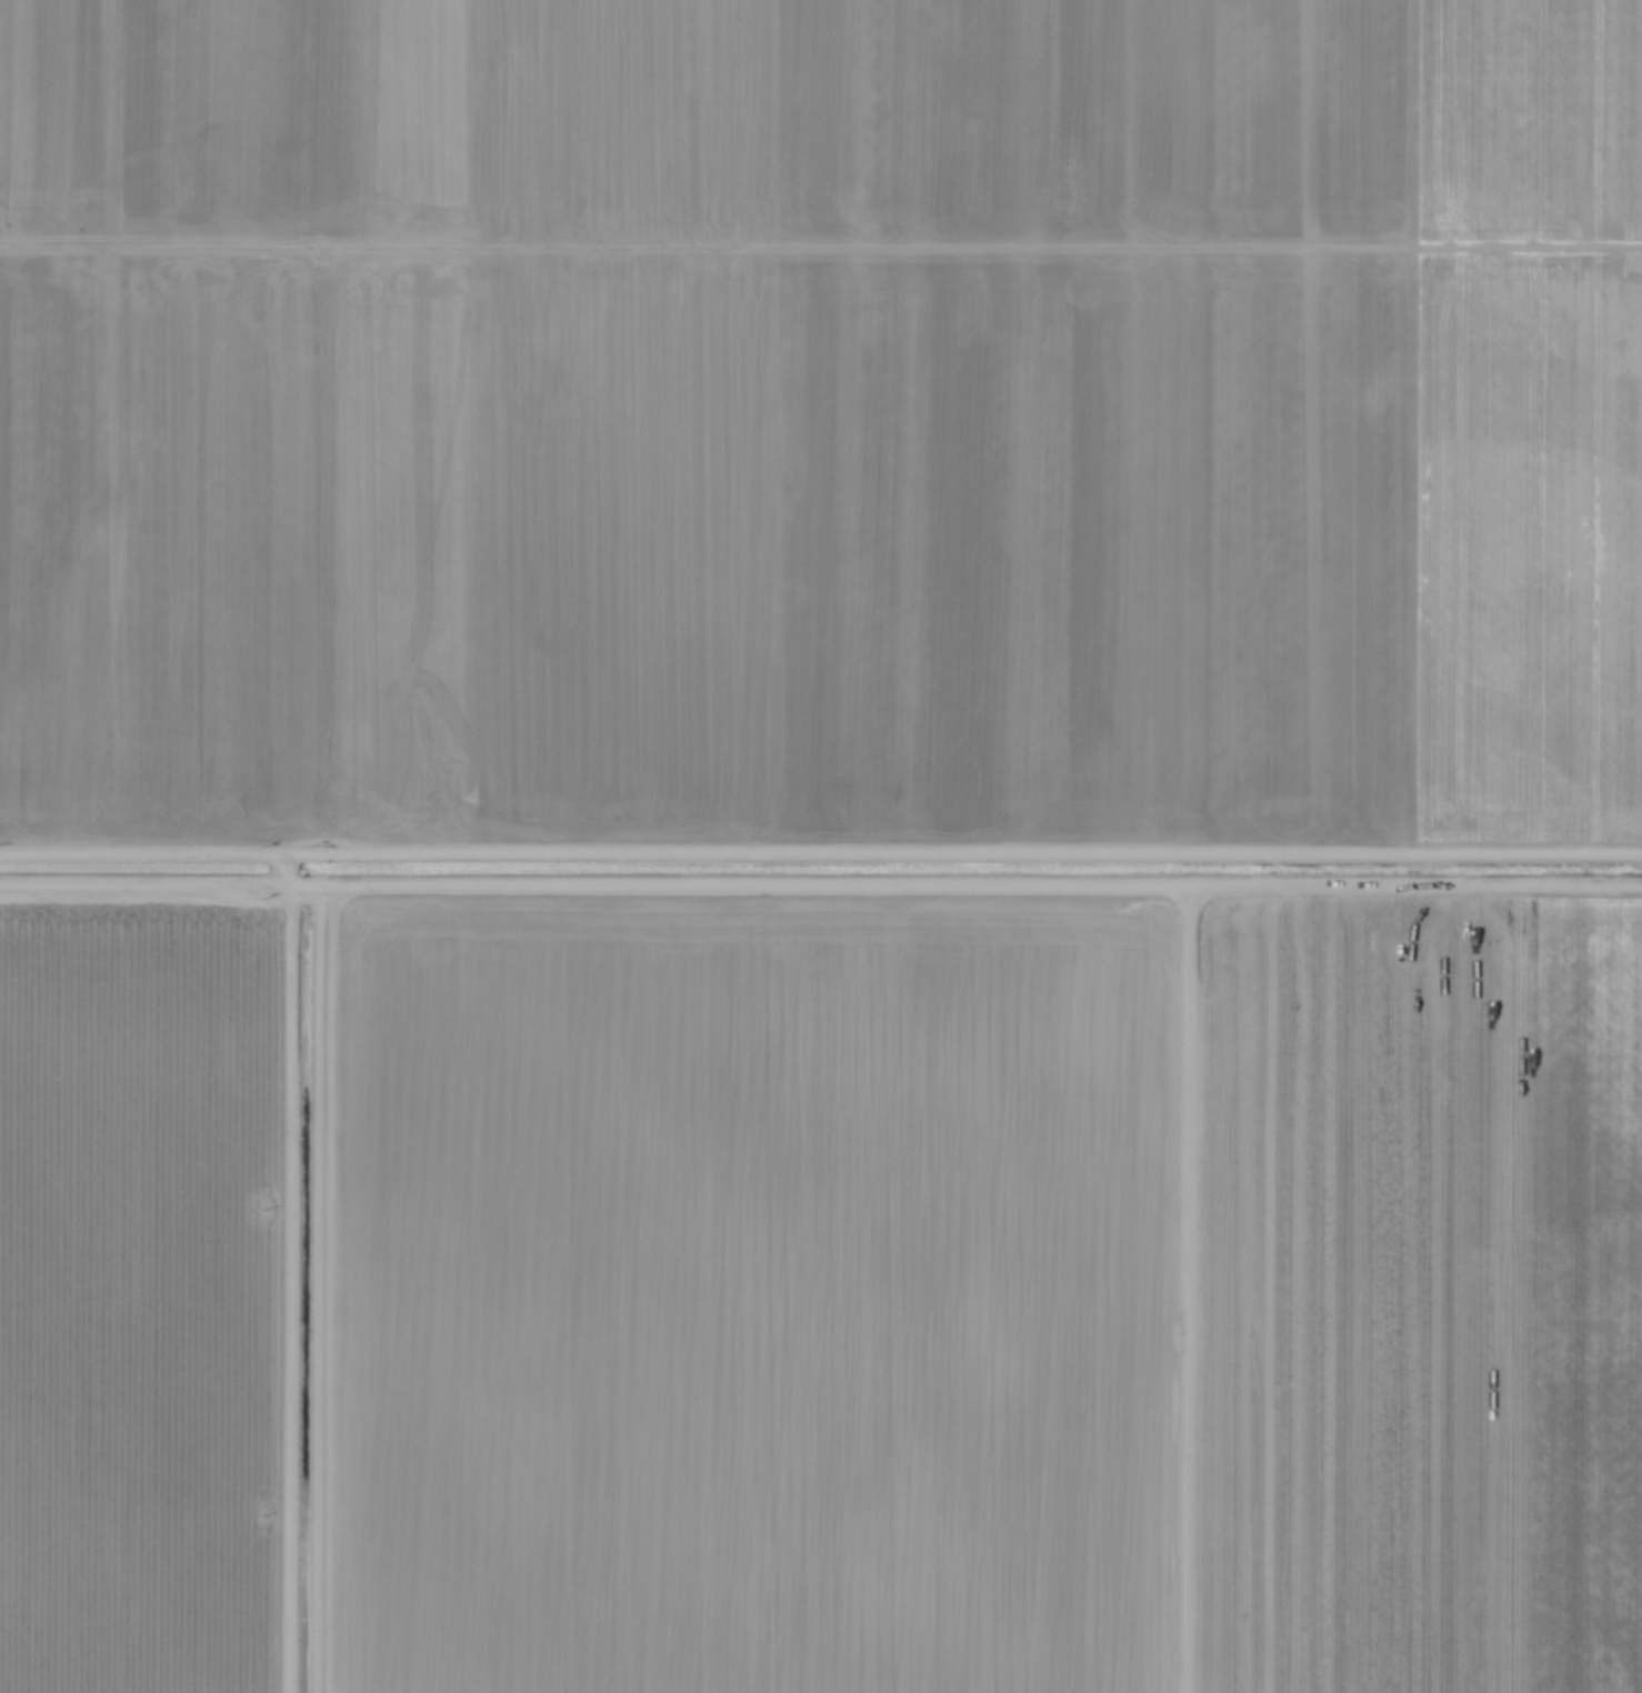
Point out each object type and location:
road: (166, 842)
crop: (821, 847)
road: (987, 849)
road: (146, 890)
road: (289, 1268)

